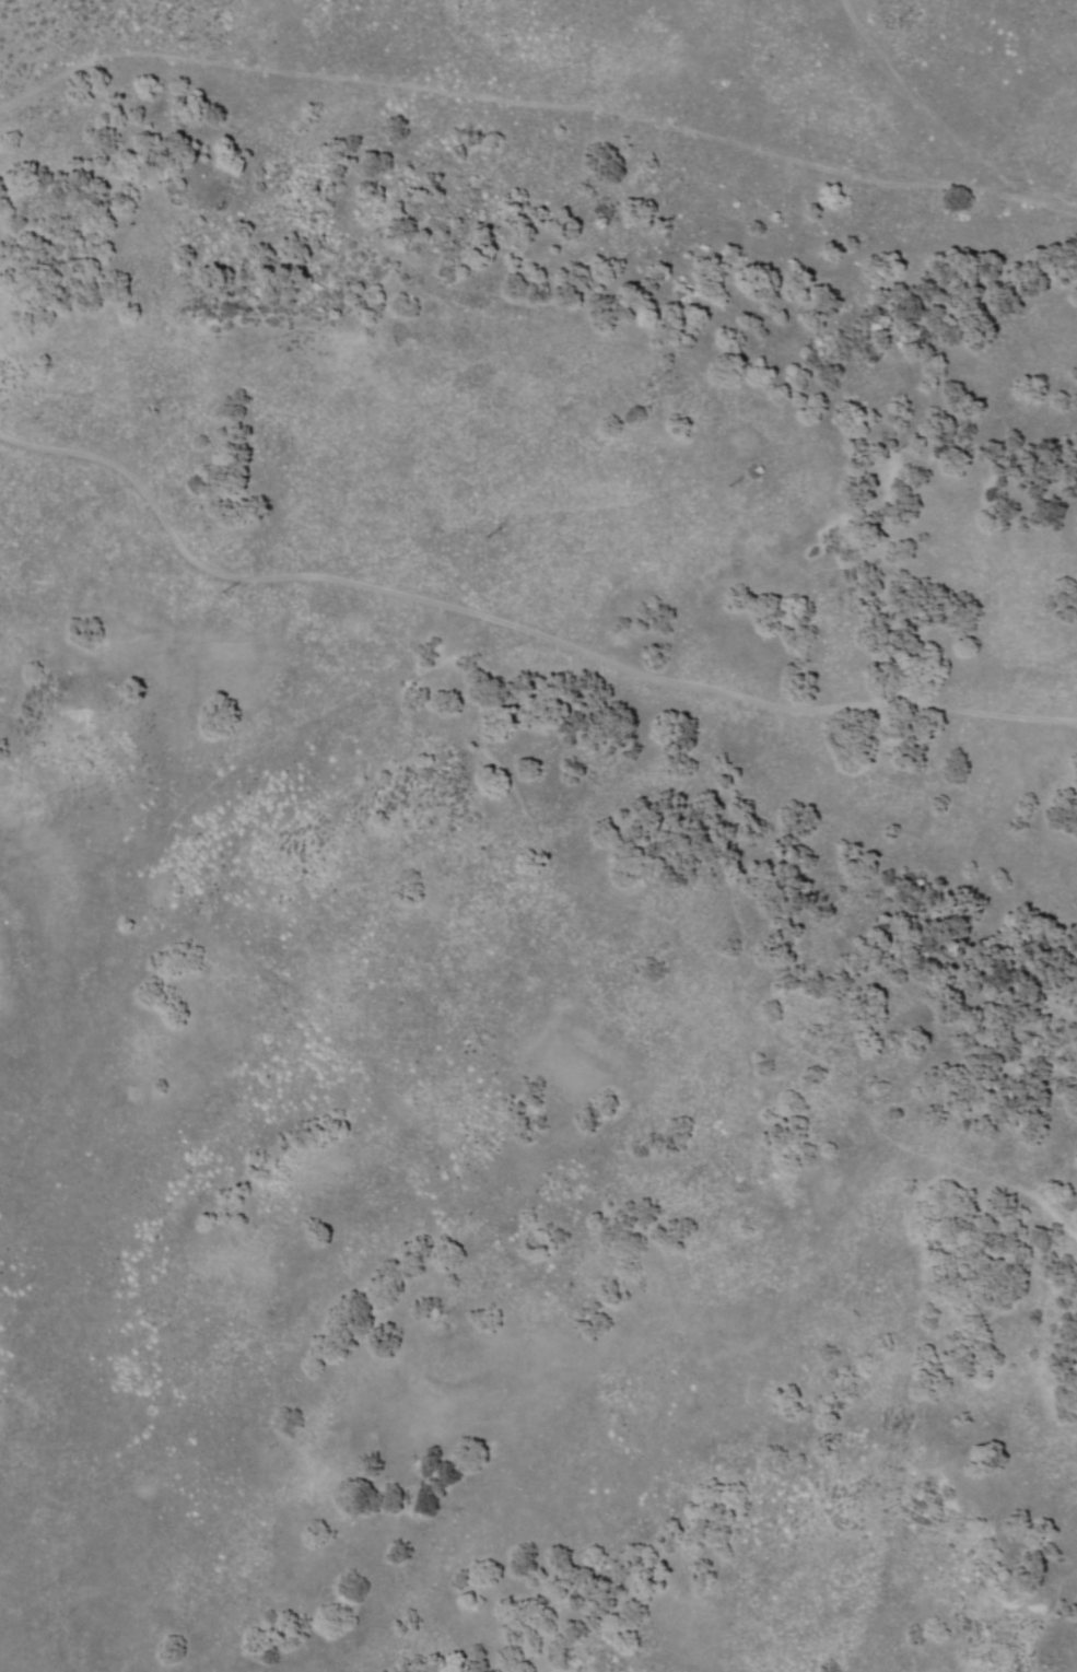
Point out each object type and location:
road: (540, 97)

